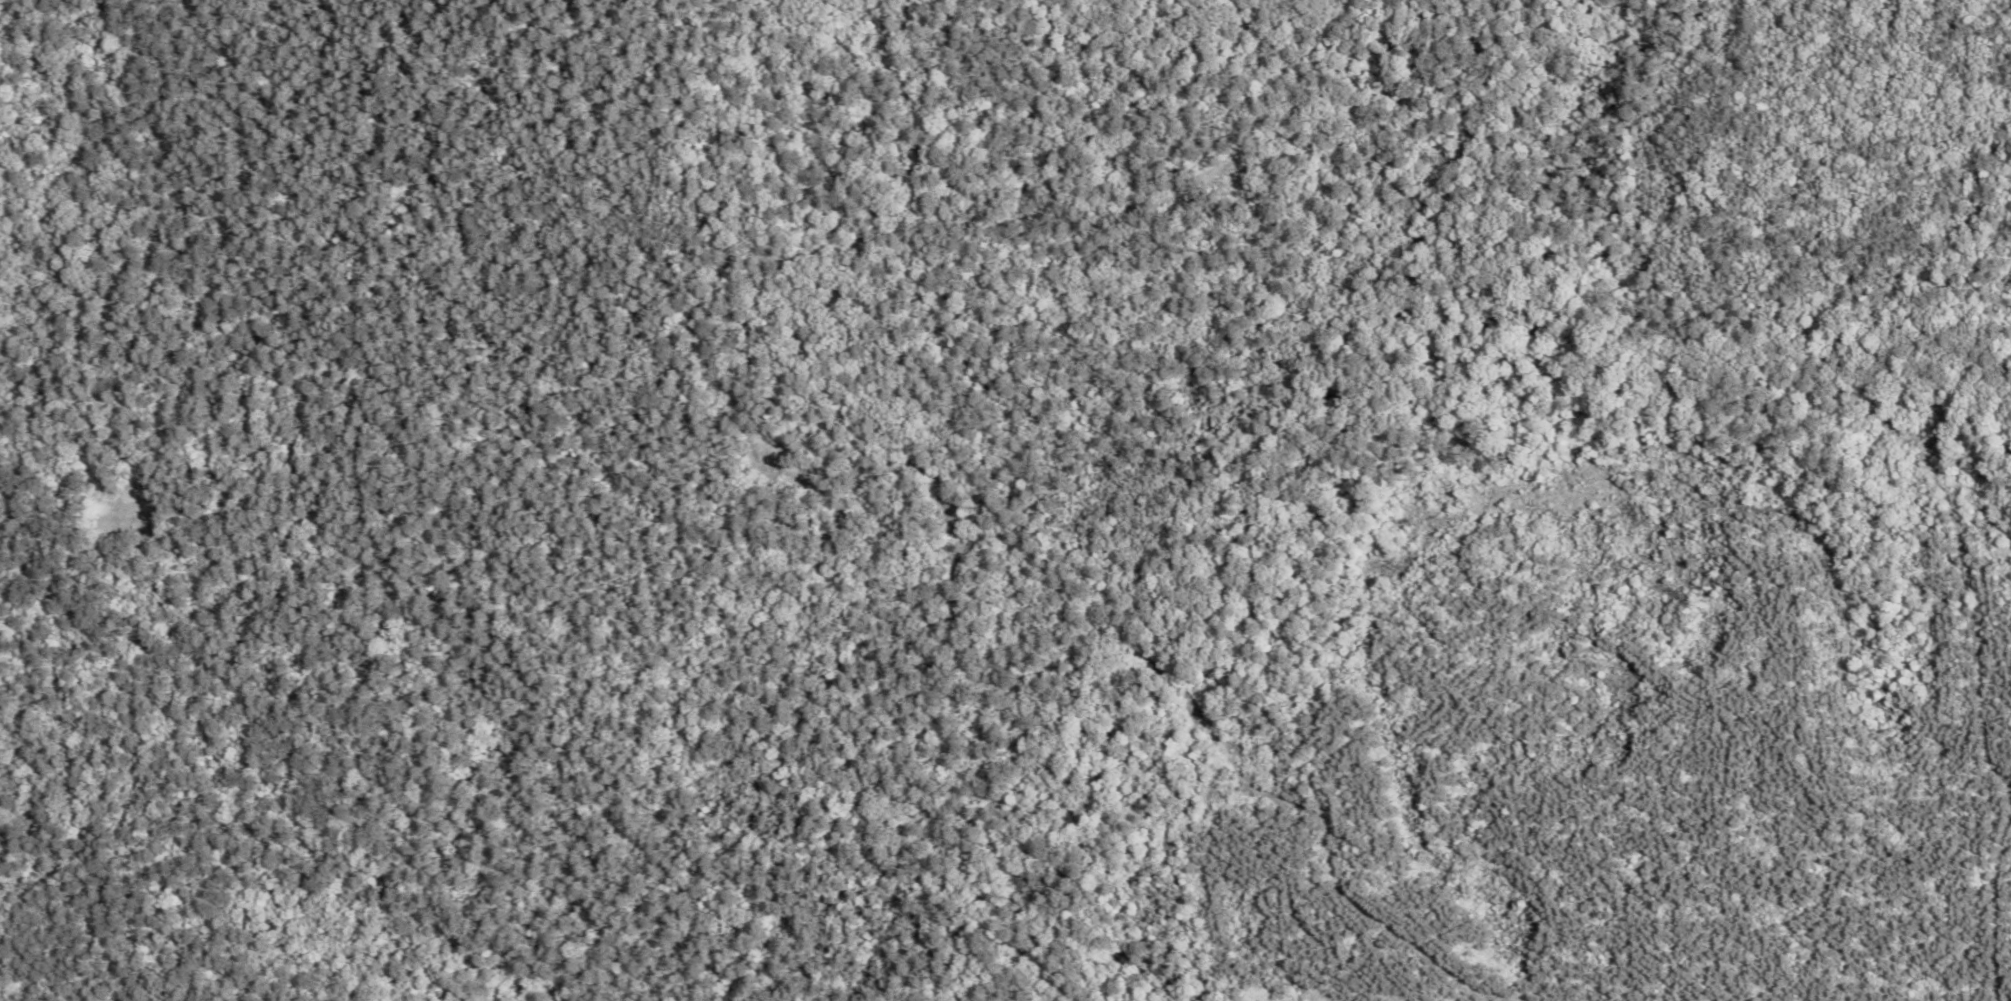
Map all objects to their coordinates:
road: (300, 738)

